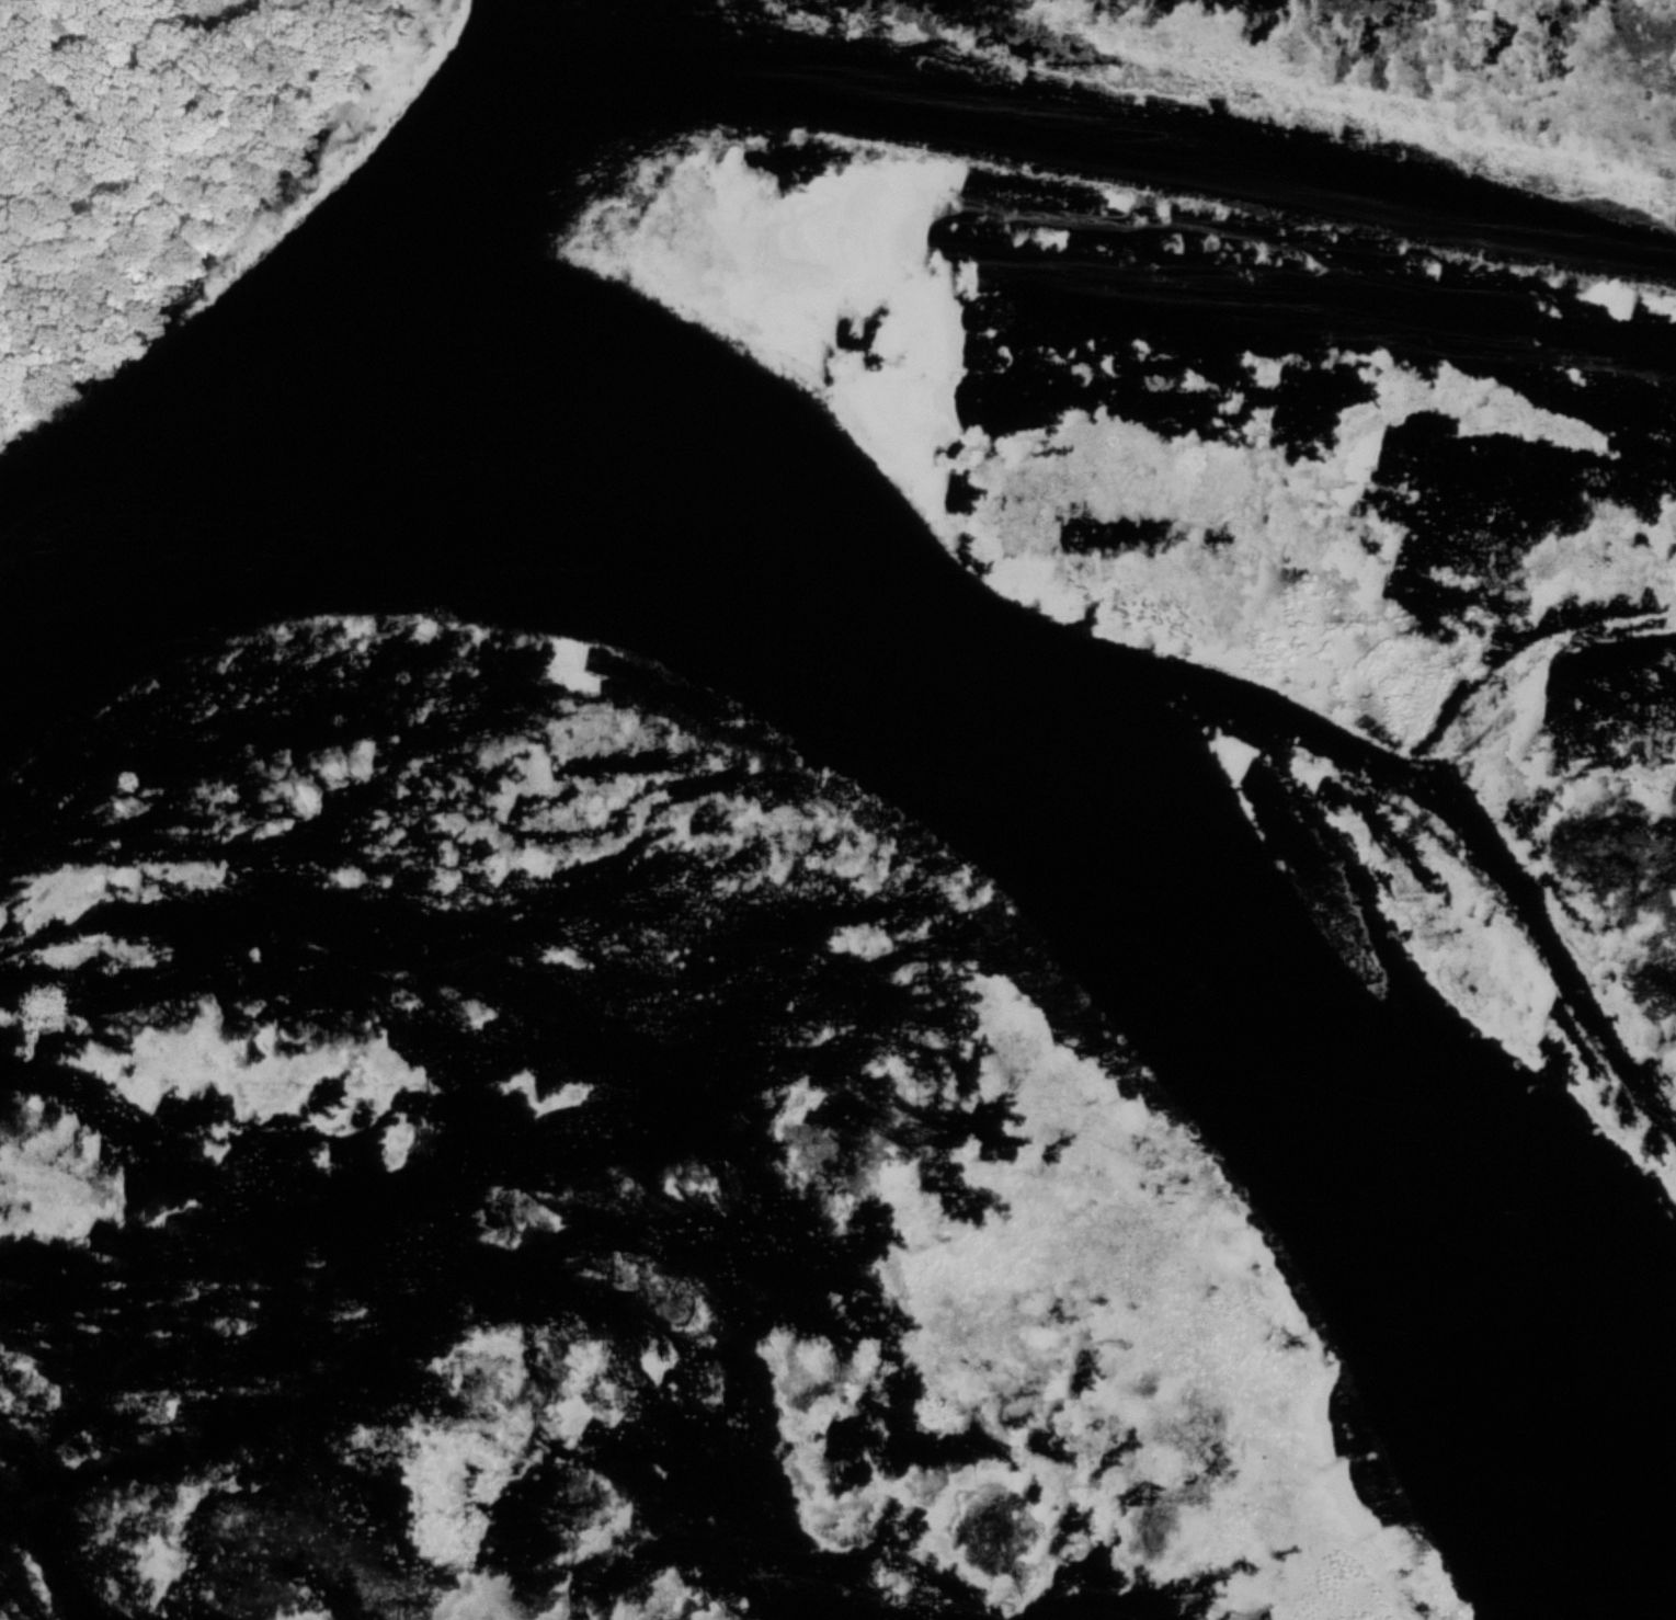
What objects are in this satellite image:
park: (137, 149)
river: (1021, 722)

